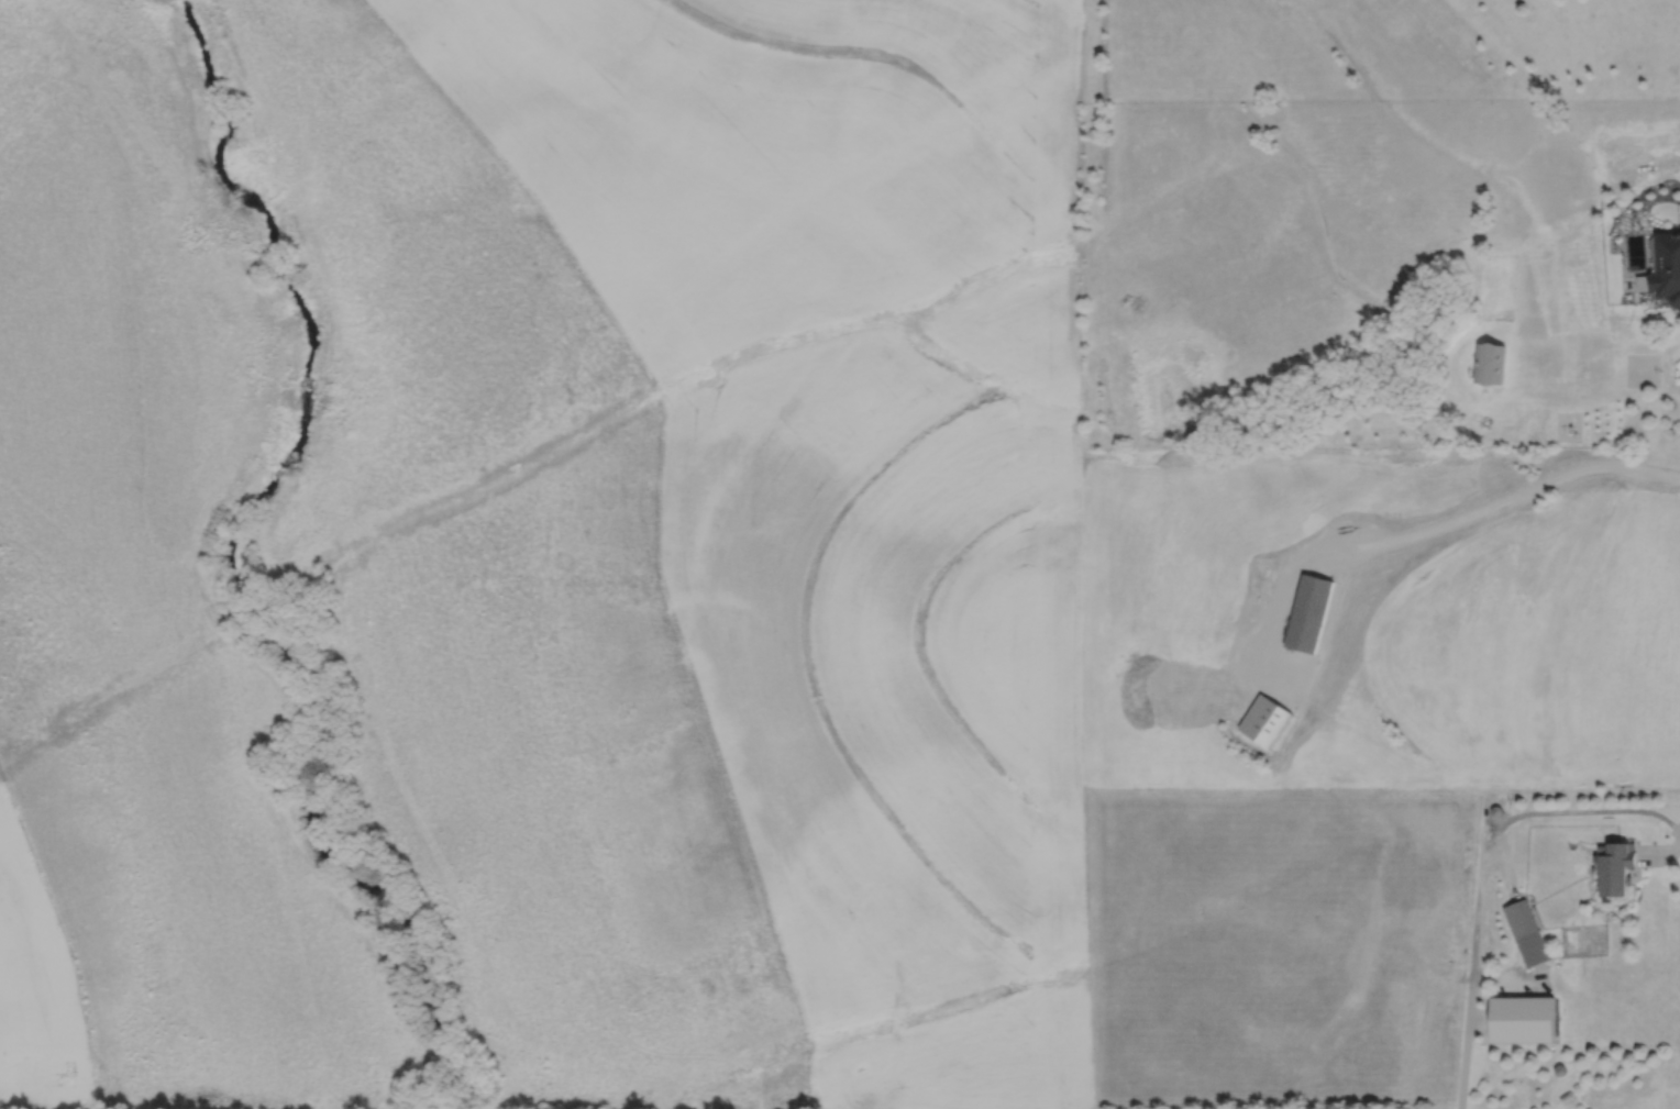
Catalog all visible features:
building: (1665, 269)
building: (1489, 363)
road: (1435, 521)
park: (344, 599)
building: (1308, 613)
road: (1661, 857)
building: (1614, 866)
road: (1481, 873)
building: (1525, 933)
airport hangar: (1522, 1019)
building: (1522, 1019)

